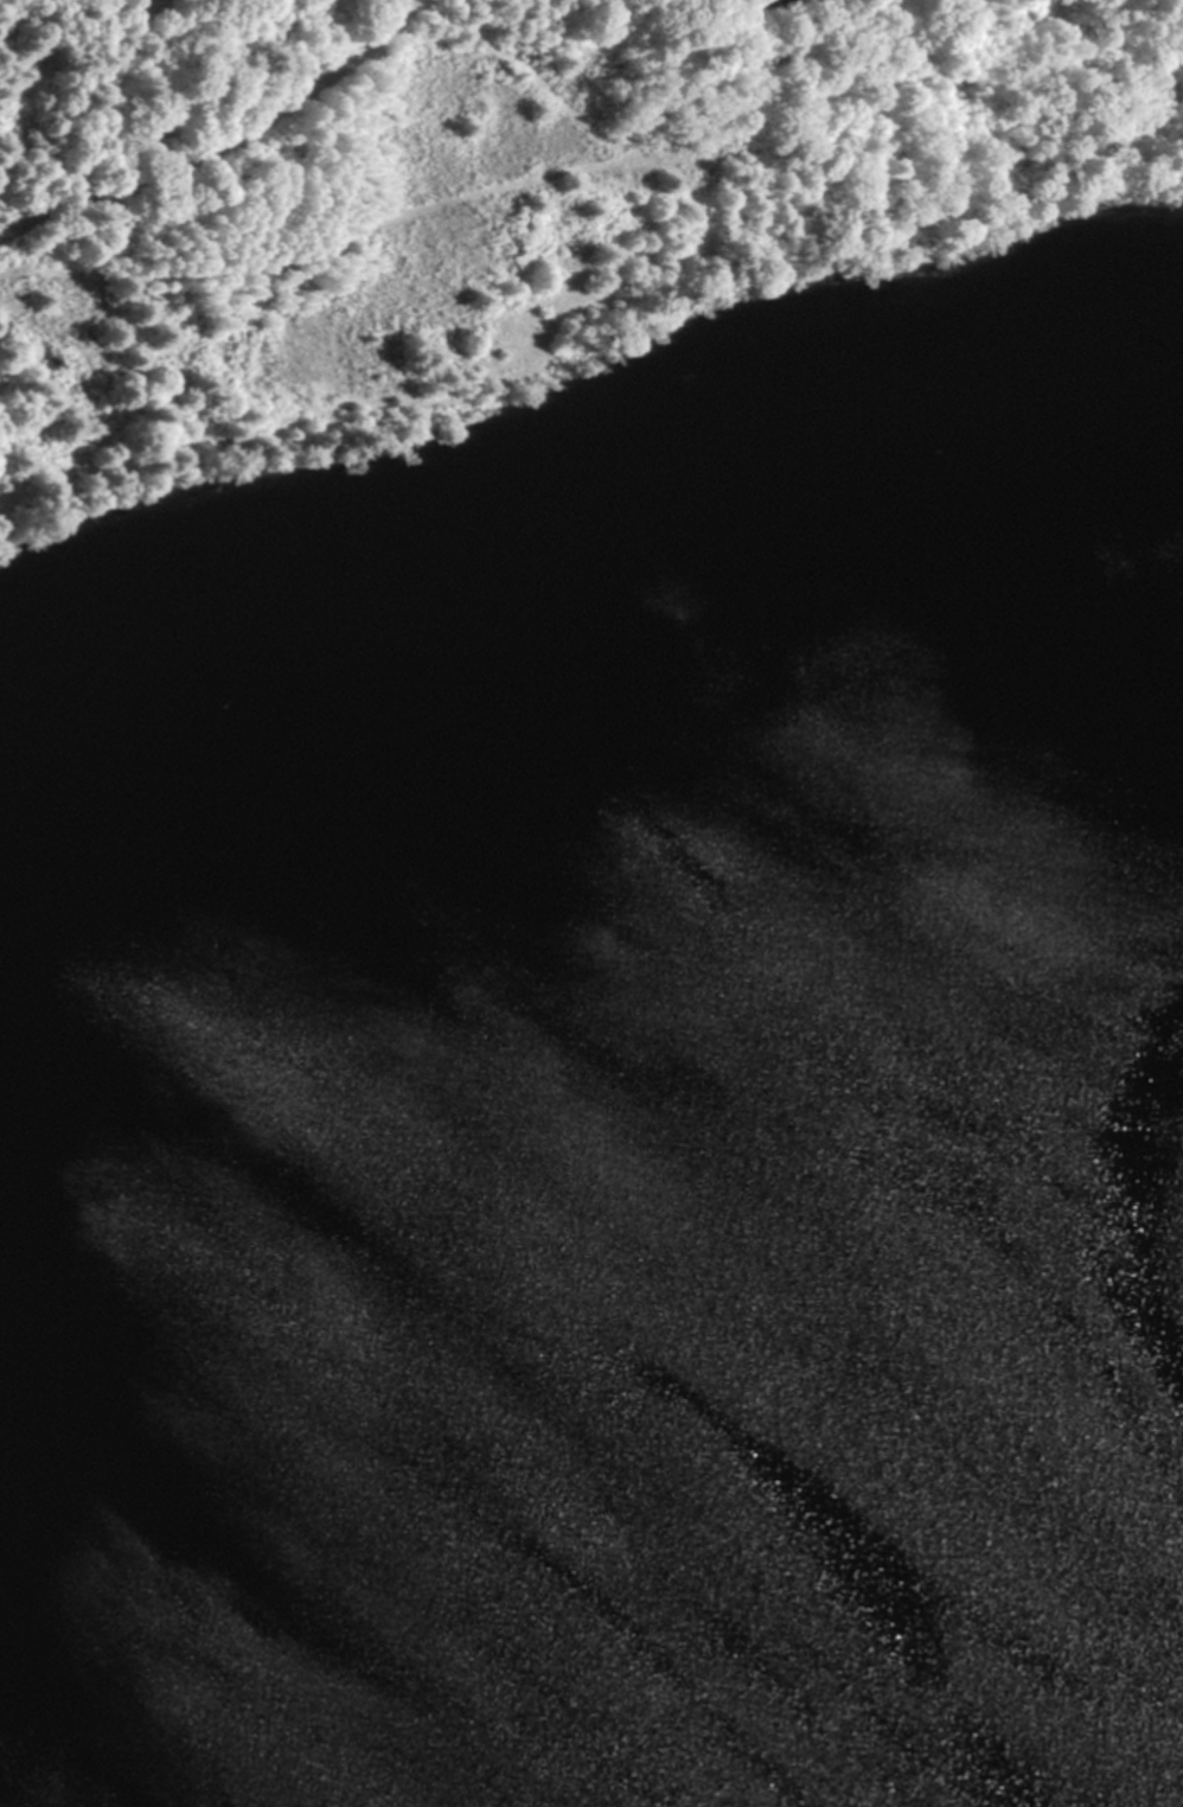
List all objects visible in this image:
road: (814, 87)
road: (228, 146)

